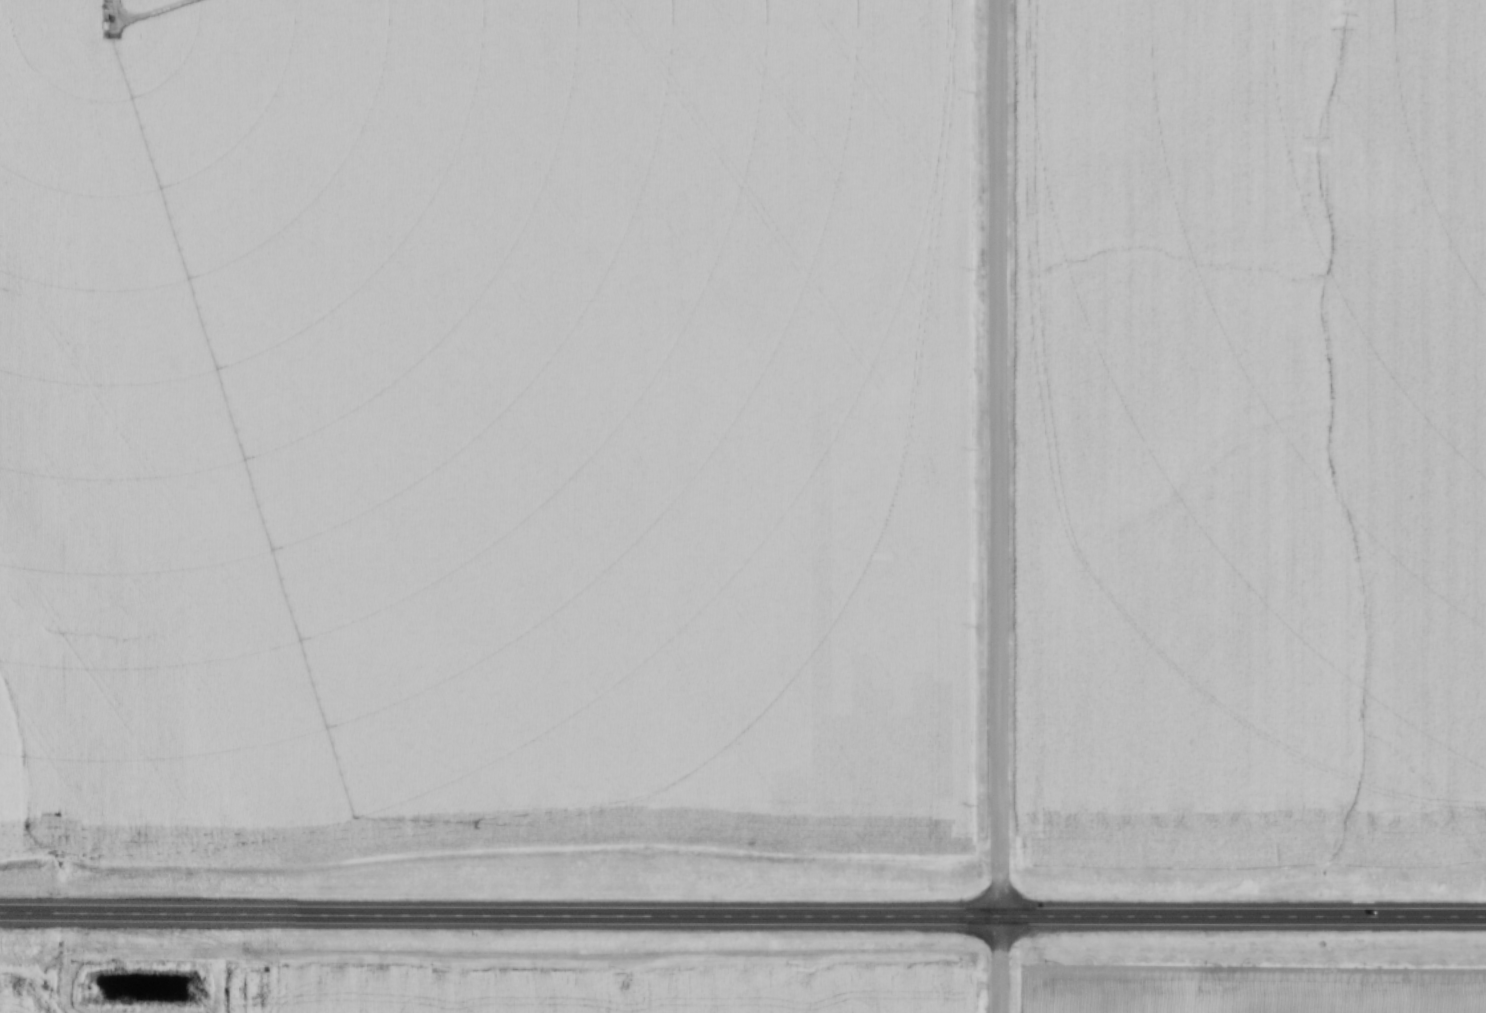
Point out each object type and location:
crop: (481, 417)
road: (998, 459)
road: (742, 918)
road: (1002, 966)
crop: (1250, 988)
crop: (612, 990)
crop: (20, 1001)

